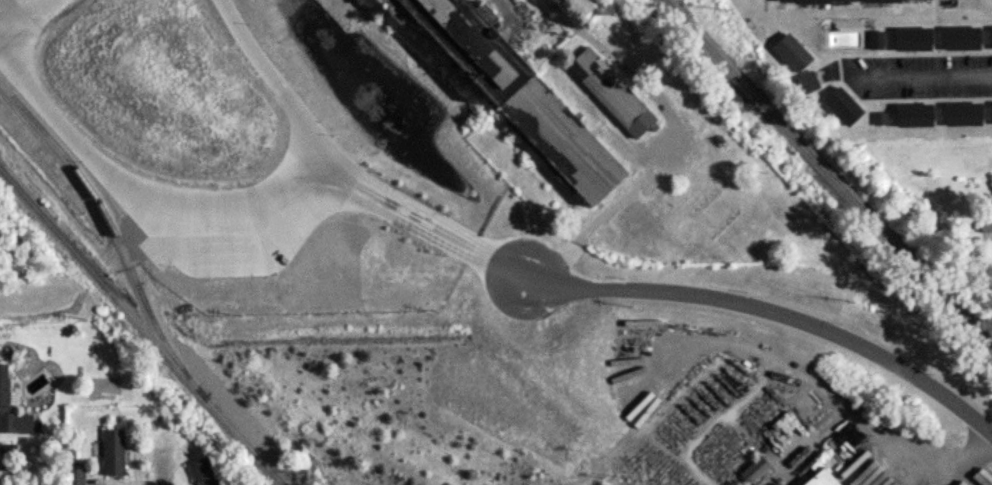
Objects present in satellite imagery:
building: (845, 1)
building: (582, 6)
building: (990, 38)
building: (959, 39)
building: (876, 40)
building: (910, 40)
building: (790, 53)
road: (920, 78)
building: (807, 82)
building: (502, 92)
building: (608, 93)
building: (840, 106)
building: (959, 114)
building: (990, 114)
building: (911, 115)
railway: (828, 177)
road: (340, 179)
road: (113, 185)
railway: (18, 189)
building: (984, 225)
park: (35, 251)
road: (776, 318)
railway: (158, 347)
building: (12, 414)
building: (110, 453)
road: (980, 464)
building: (753, 471)
building: (199, 472)
building: (73, 476)
building: (820, 479)

